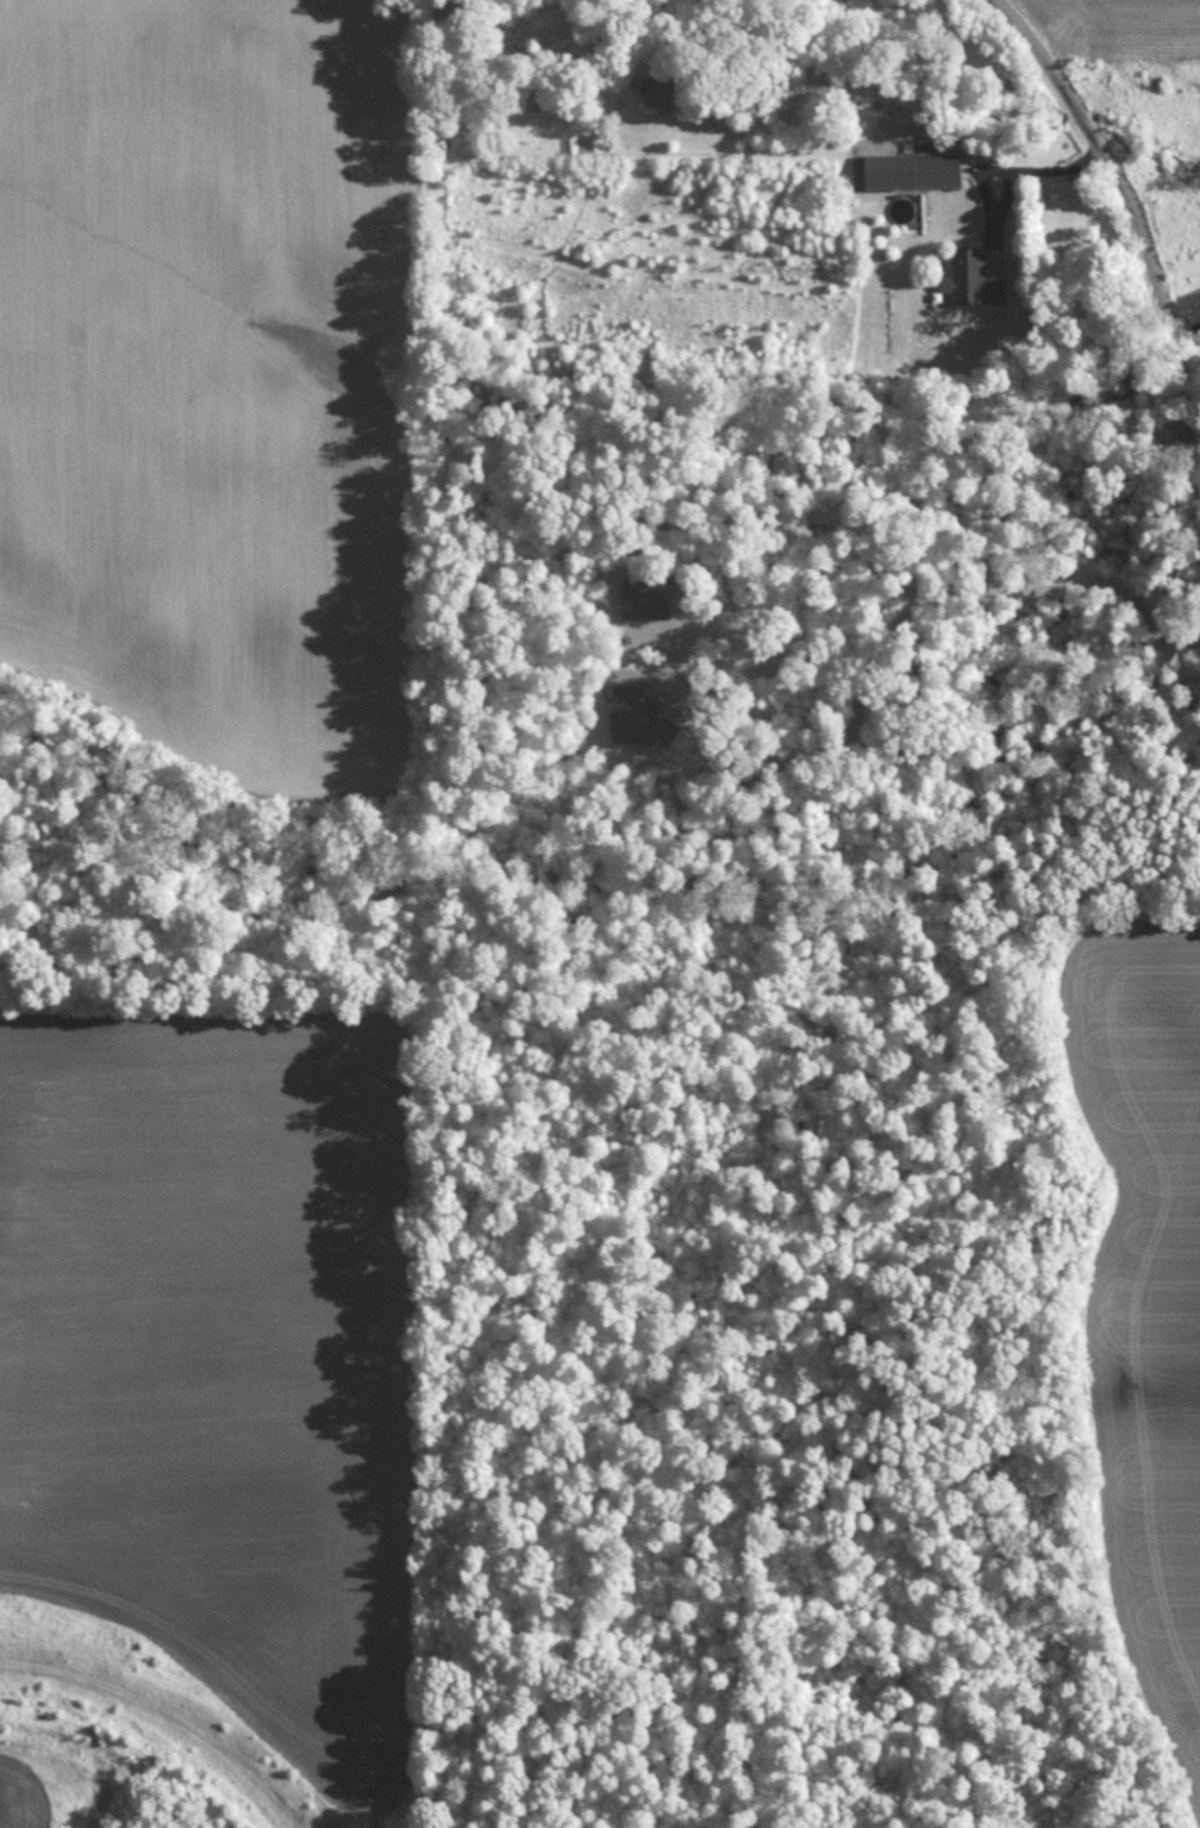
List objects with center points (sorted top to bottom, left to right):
road: (545, 32)
building: (662, 87)
building: (911, 167)
road: (1012, 171)
road: (1140, 229)
building: (974, 277)
building: (648, 598)
building: (645, 718)

